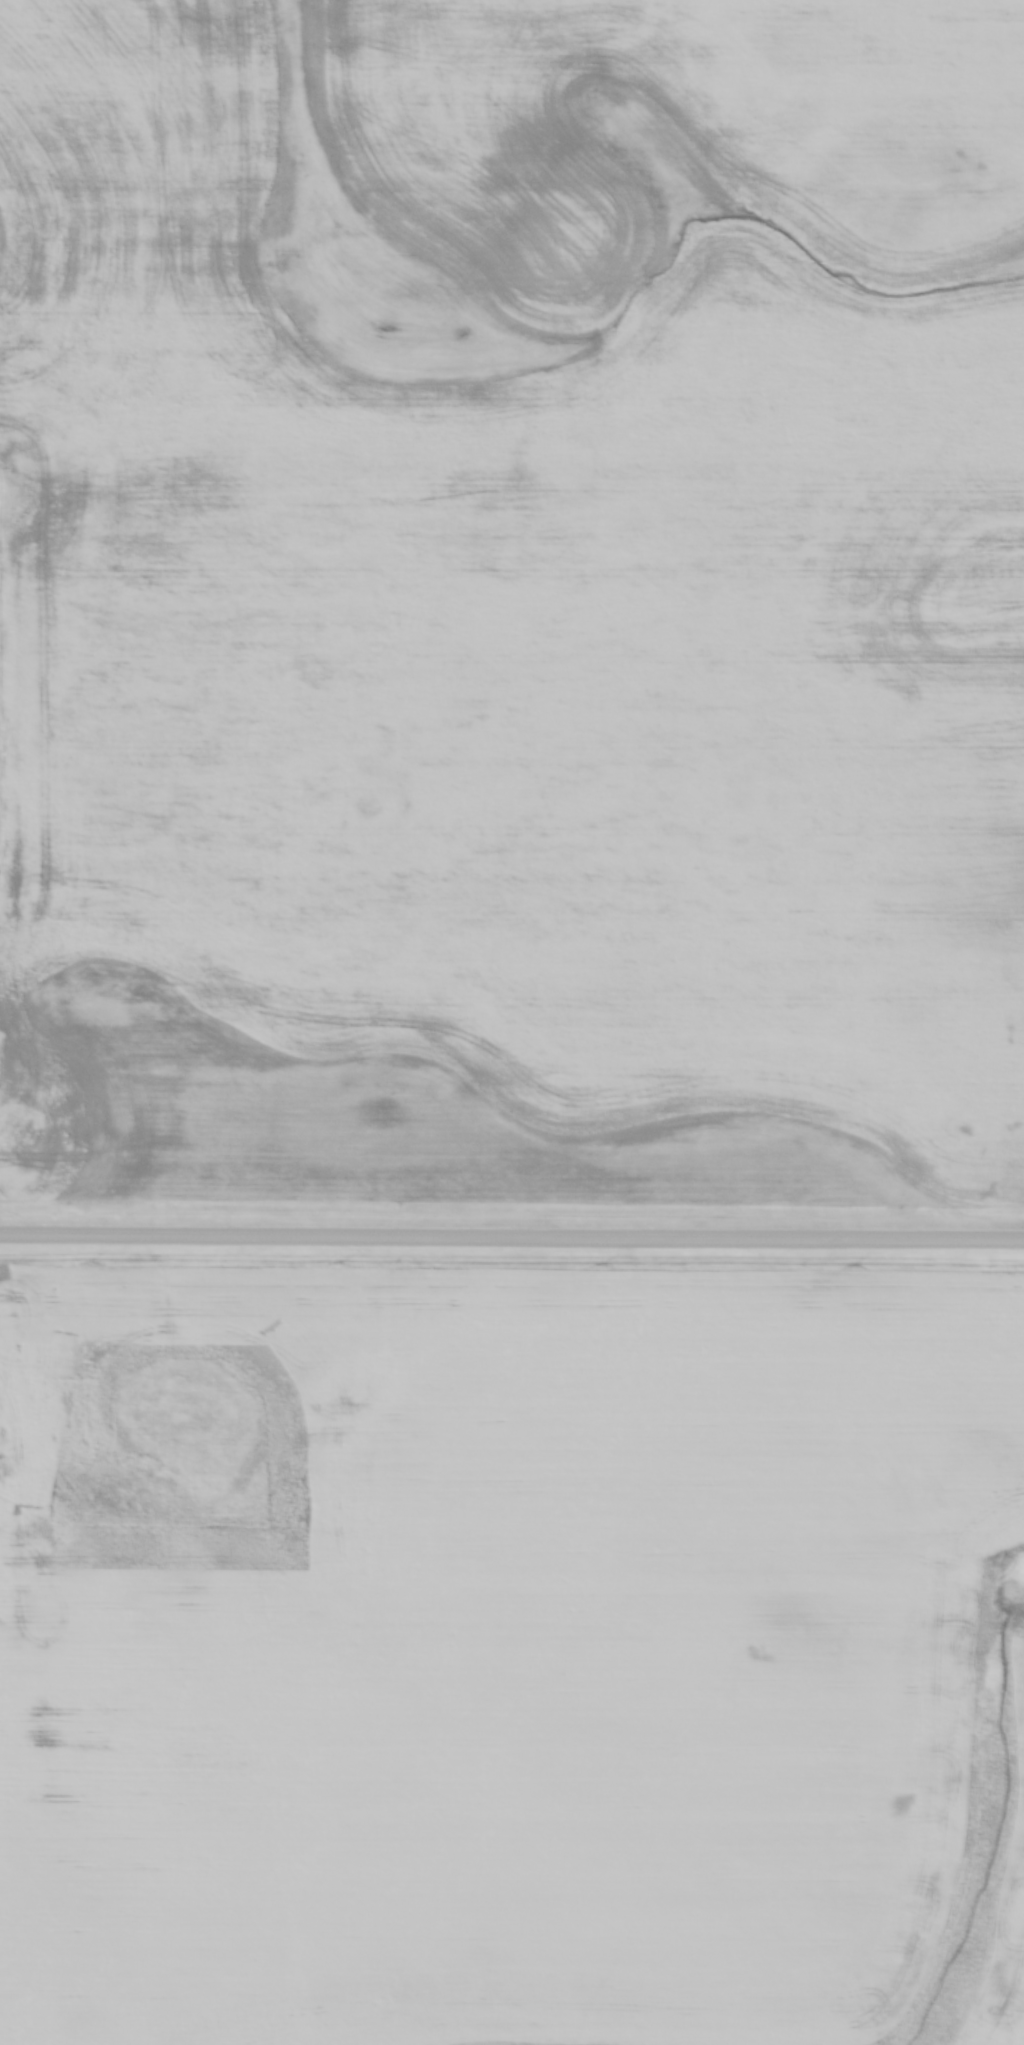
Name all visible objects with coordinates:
road: (511, 1237)

